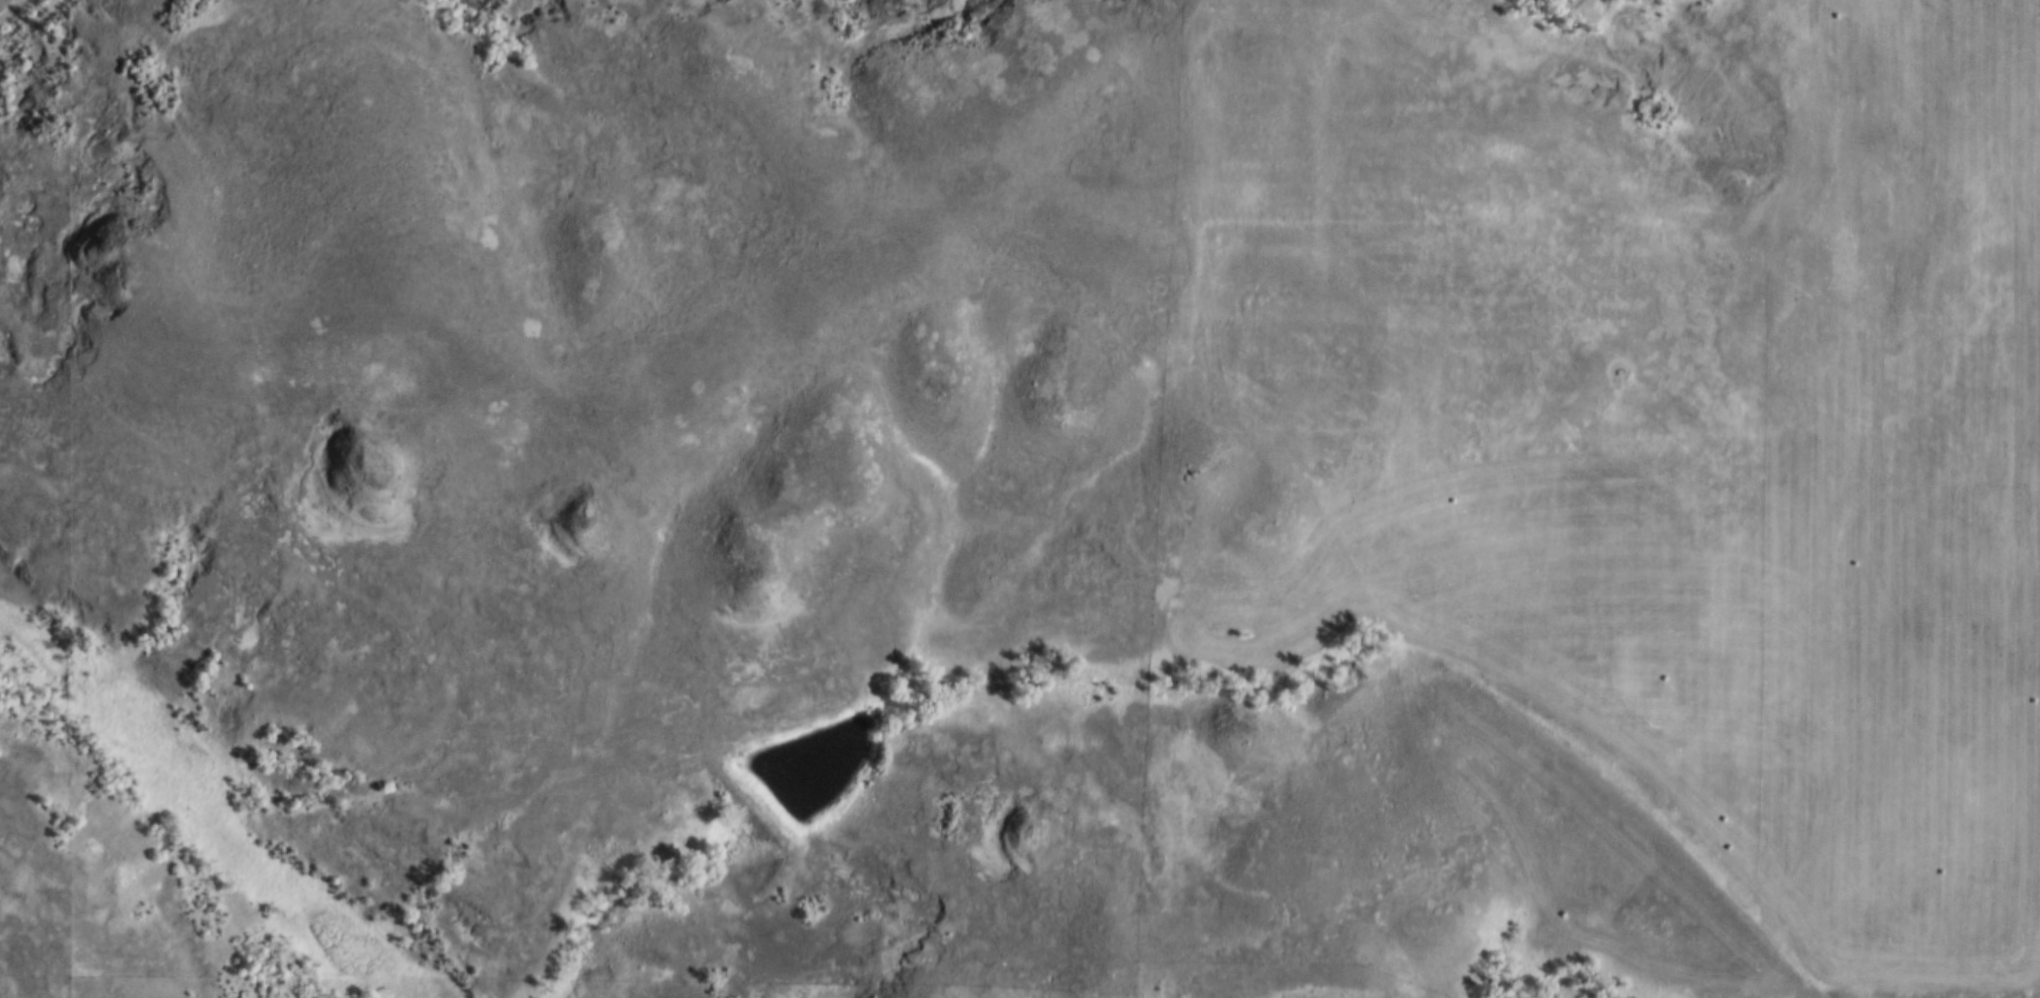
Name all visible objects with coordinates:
road: (1779, 123)

